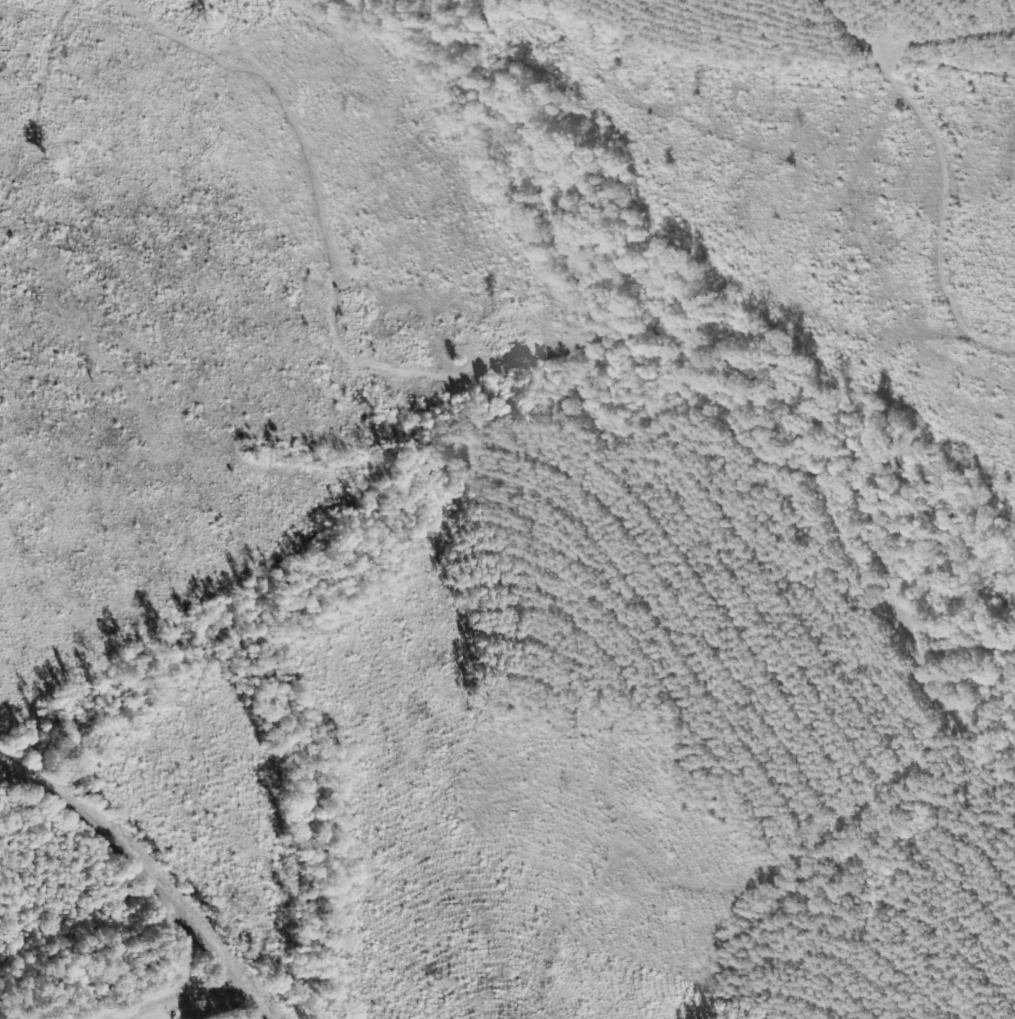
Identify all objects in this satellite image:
road: (130, 890)
road: (253, 1012)
road: (220, 1013)

